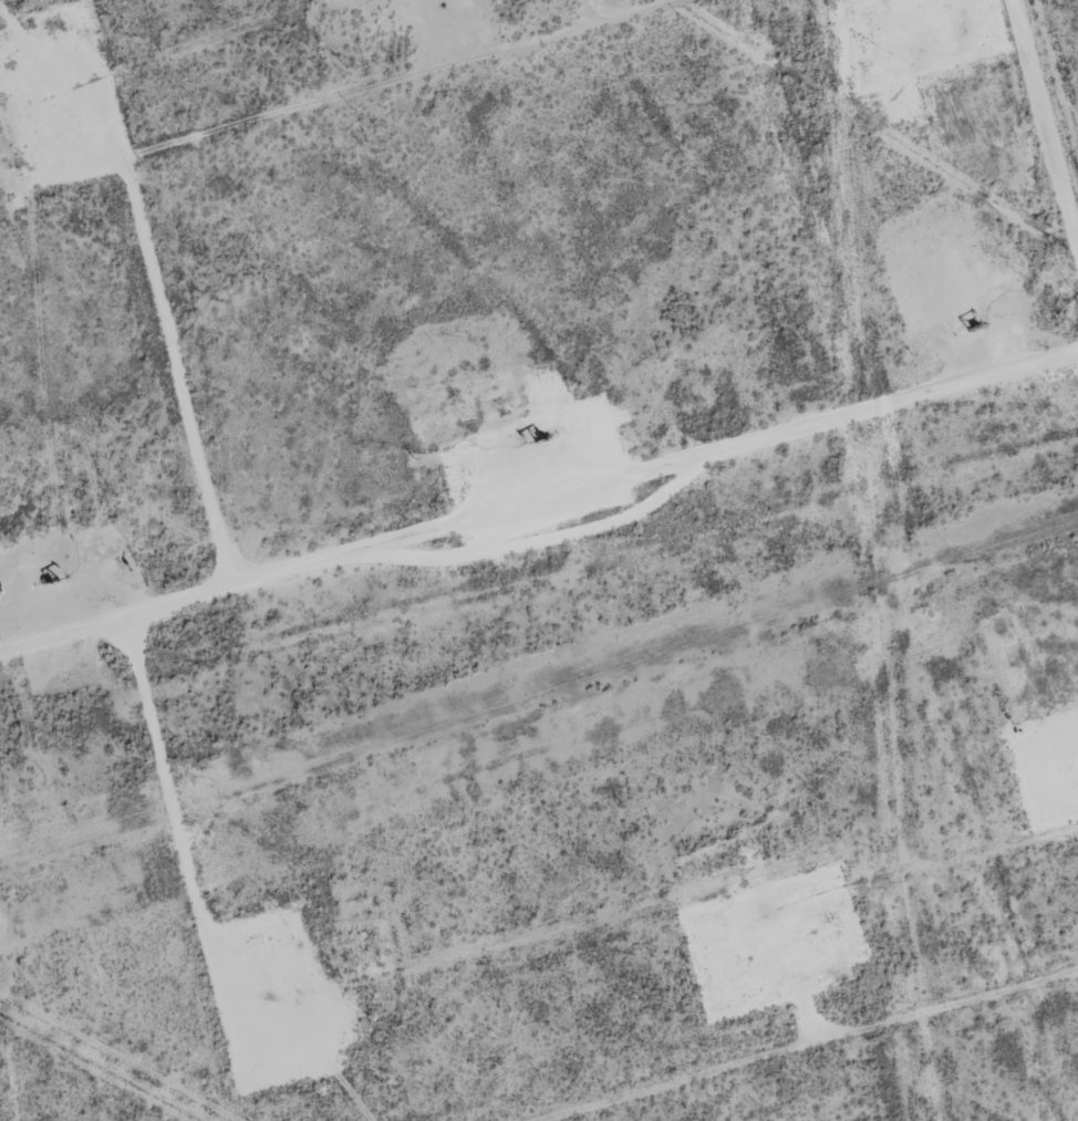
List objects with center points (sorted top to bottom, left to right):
road: (1015, 228)
road: (538, 491)

